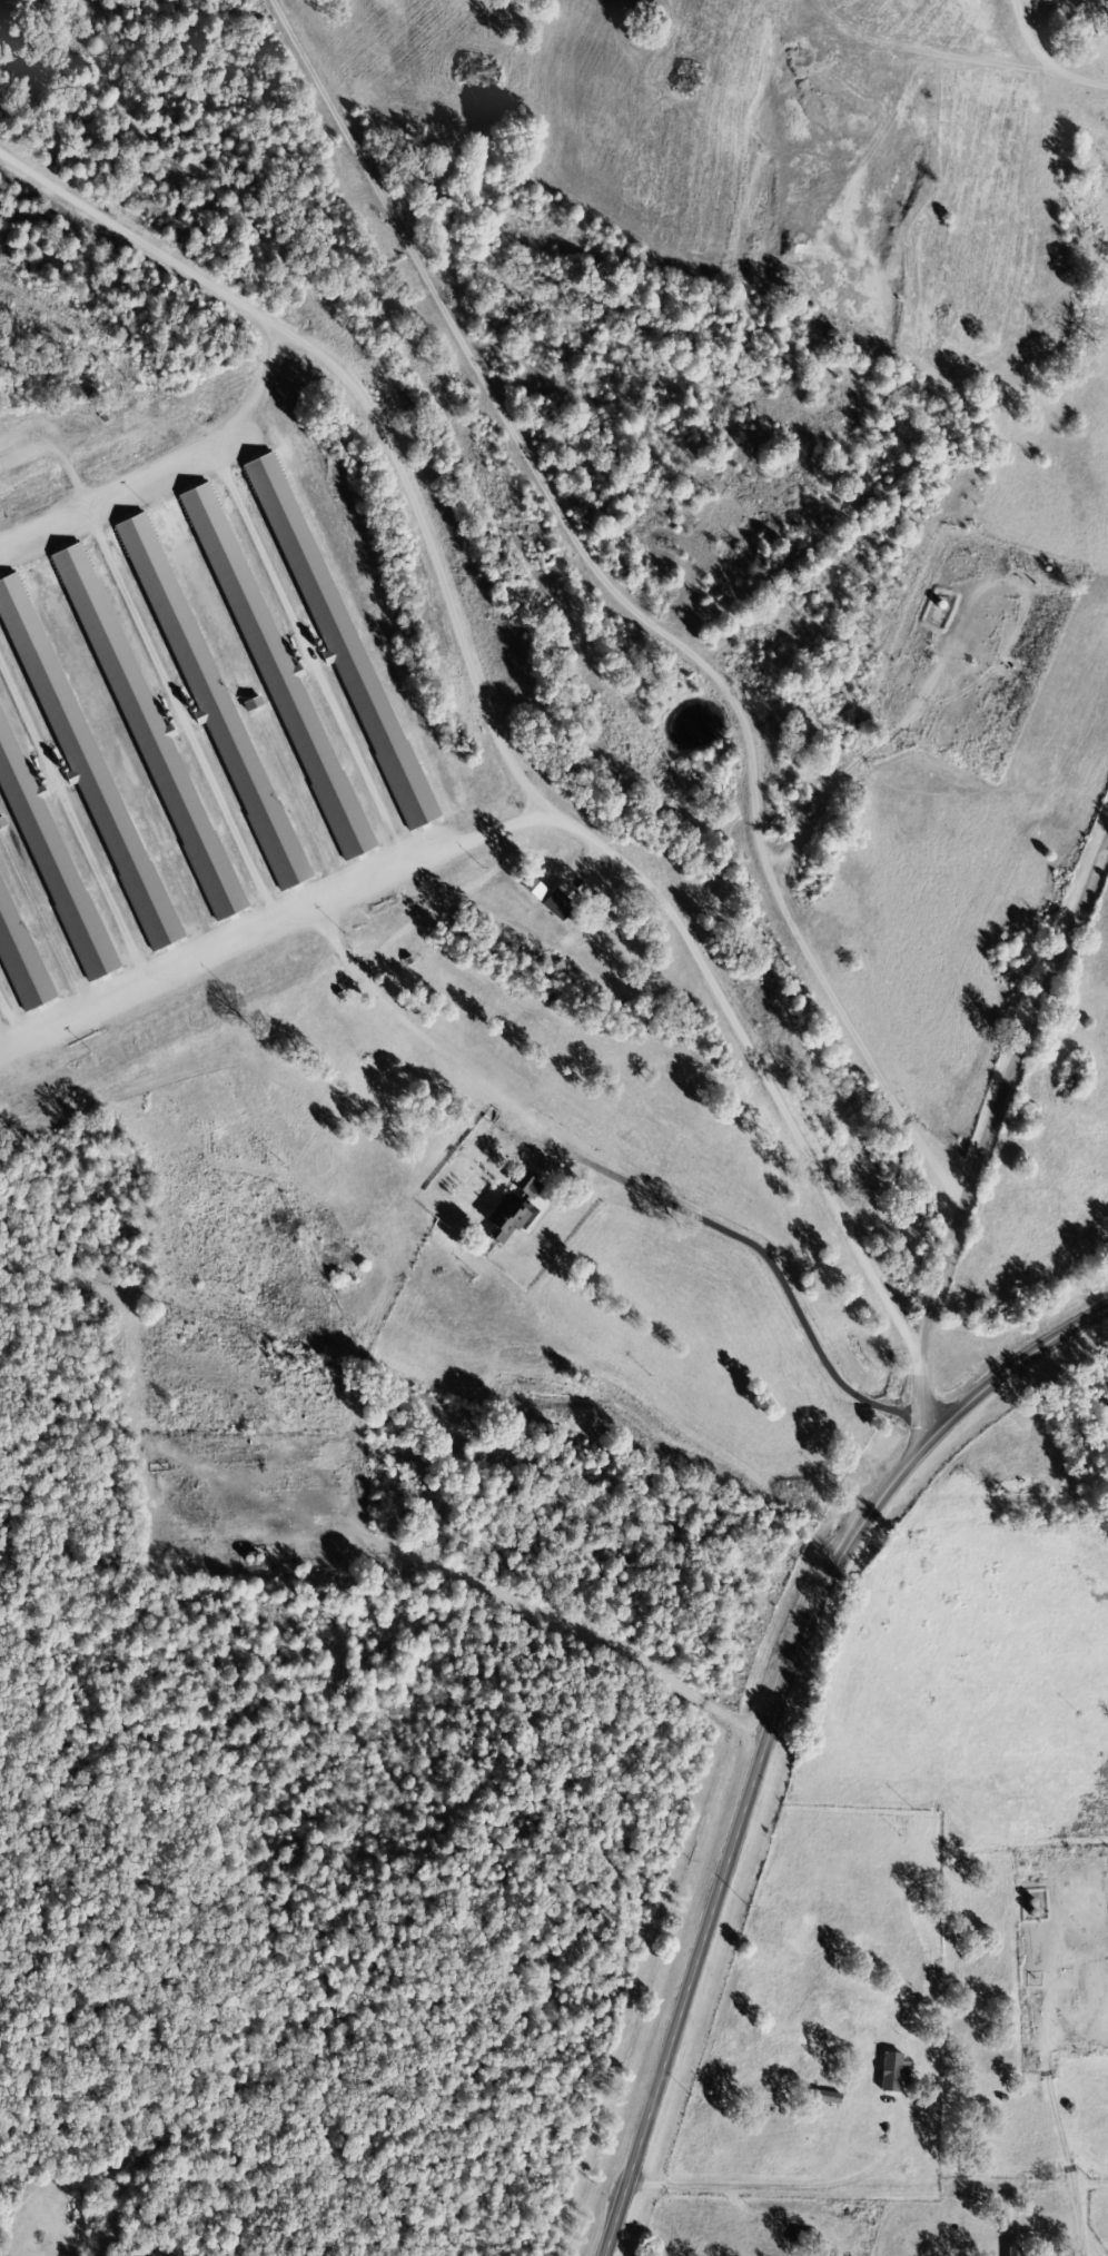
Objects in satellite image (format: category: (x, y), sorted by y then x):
building: (340, 635)
building: (286, 687)
building: (211, 695)
building: (157, 745)
building: (82, 753)
building: (55, 864)
building: (537, 890)
building: (564, 903)
building: (20, 959)
road: (1018, 1079)
building: (532, 1187)
building: (512, 1219)
road: (770, 1728)
building: (897, 2074)
building: (831, 2099)
building: (1017, 2252)

